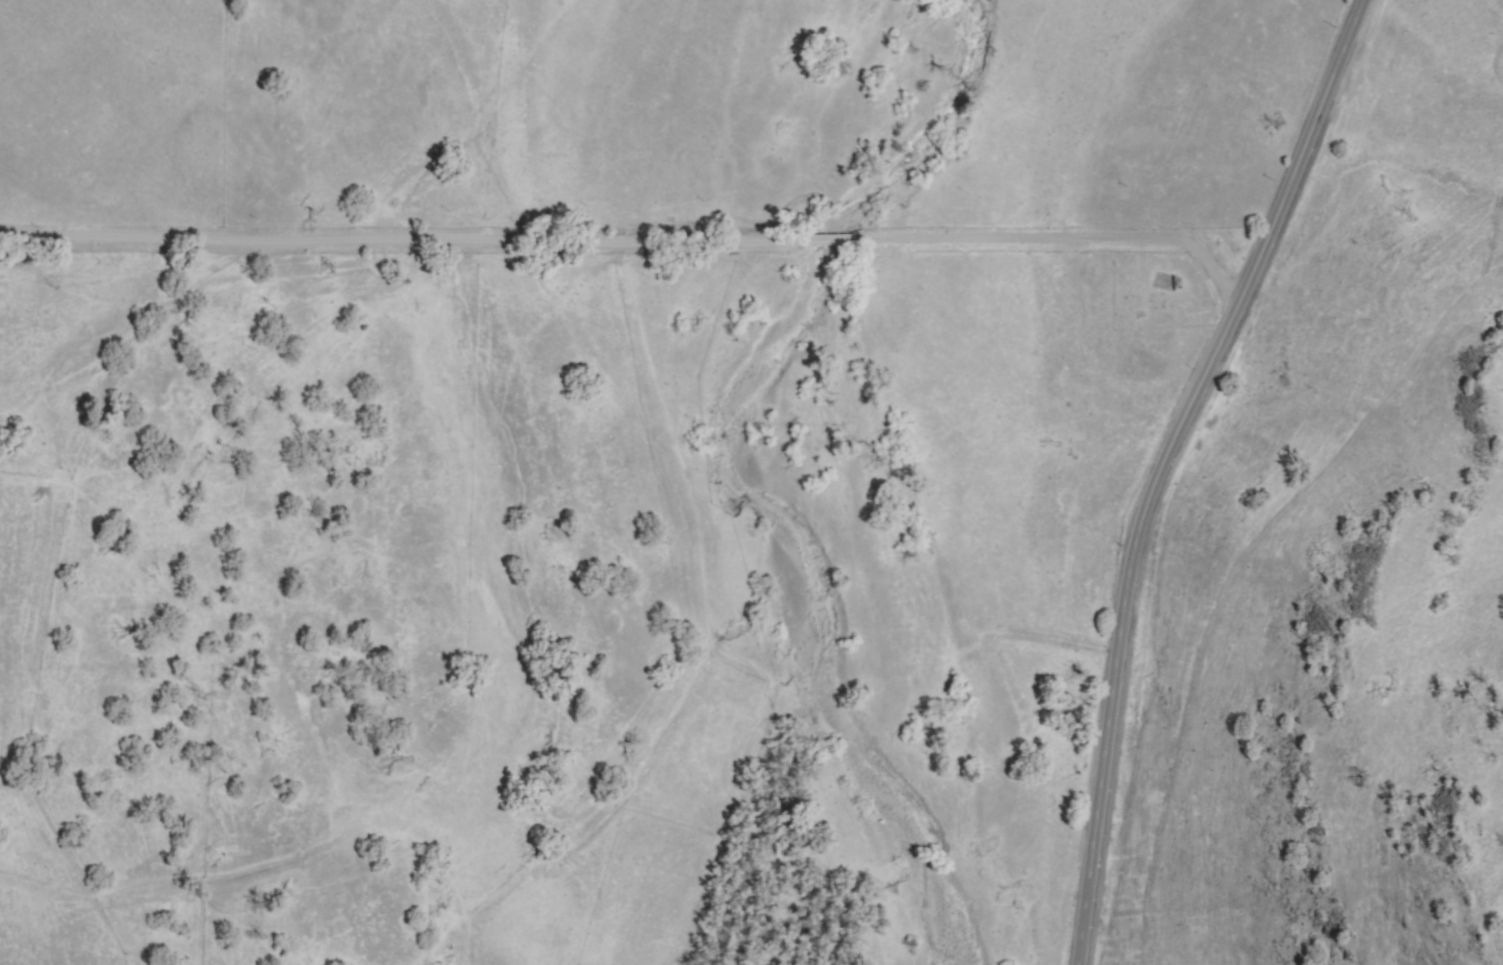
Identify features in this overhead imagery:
road: (630, 244)
crop: (1111, 326)
road: (1161, 466)
crop: (351, 491)

